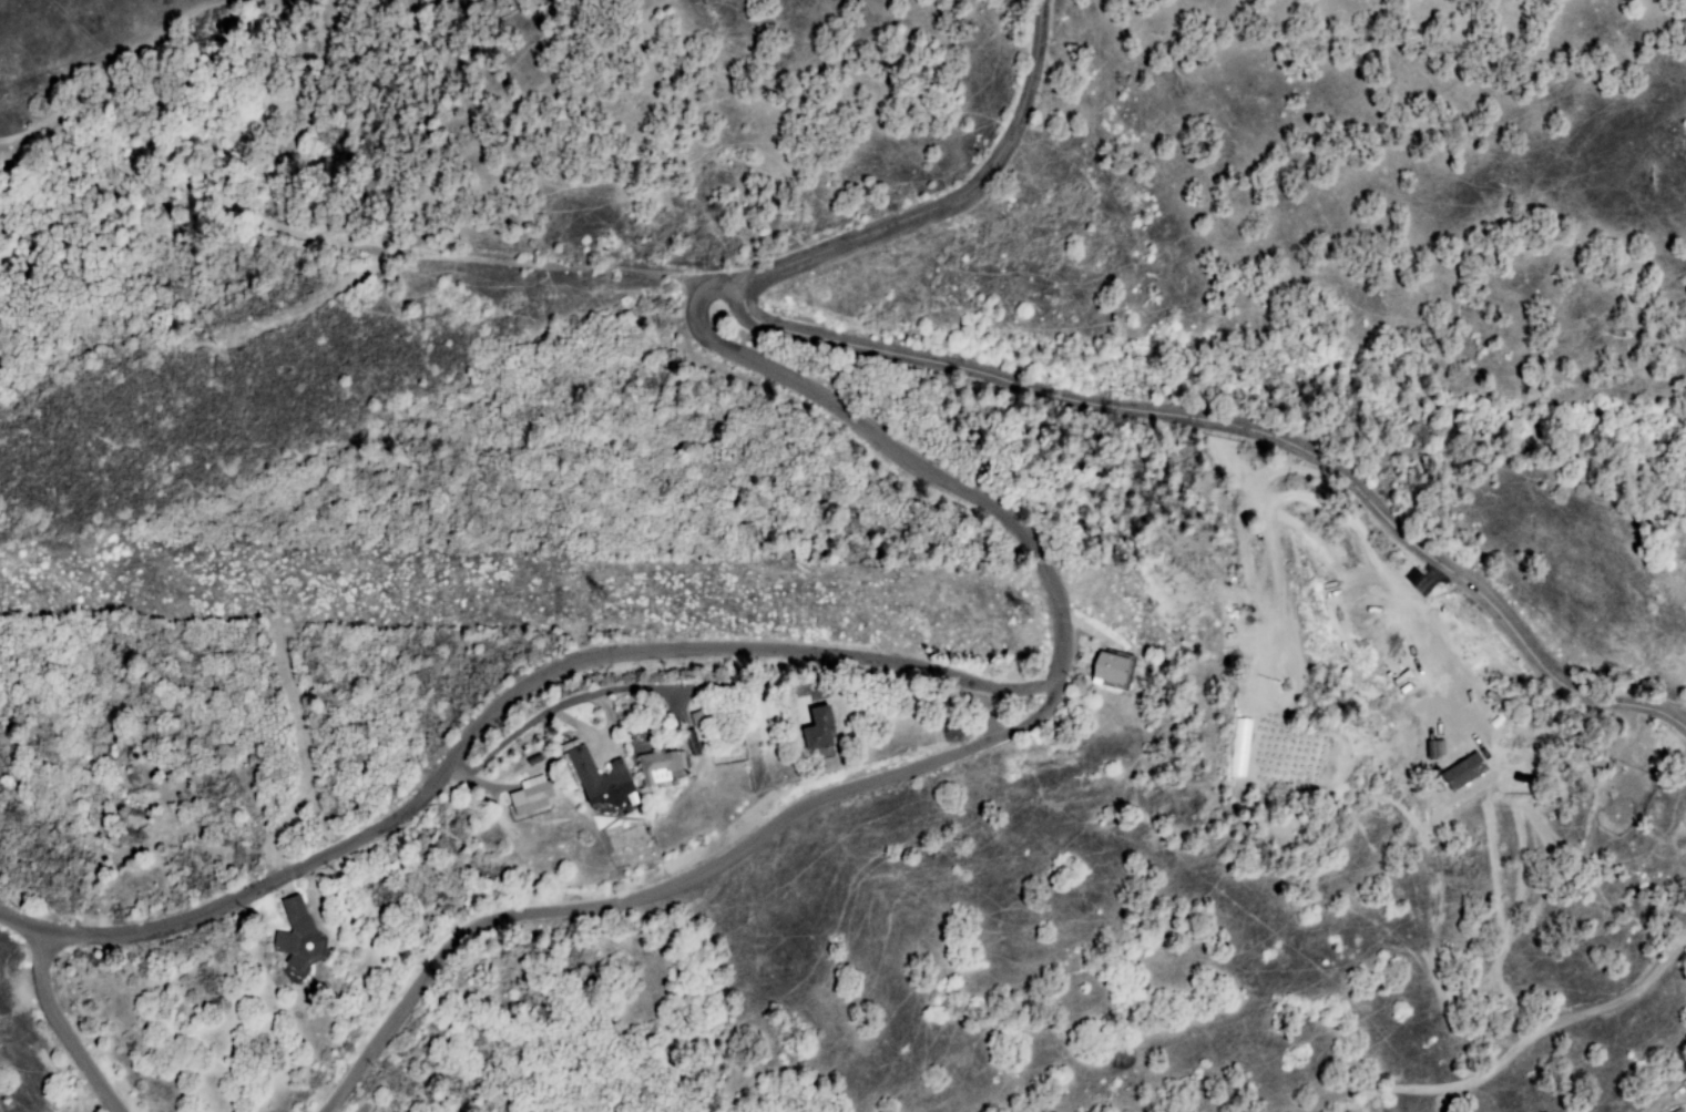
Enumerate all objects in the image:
road: (1025, 384)
power tower: (629, 622)
power tower: (1044, 637)
road: (798, 649)
building: (1110, 669)
building: (819, 730)
building: (660, 766)
building: (601, 778)
building: (532, 796)
road: (678, 886)
building: (297, 936)
road: (61, 1027)
road: (1526, 1043)

